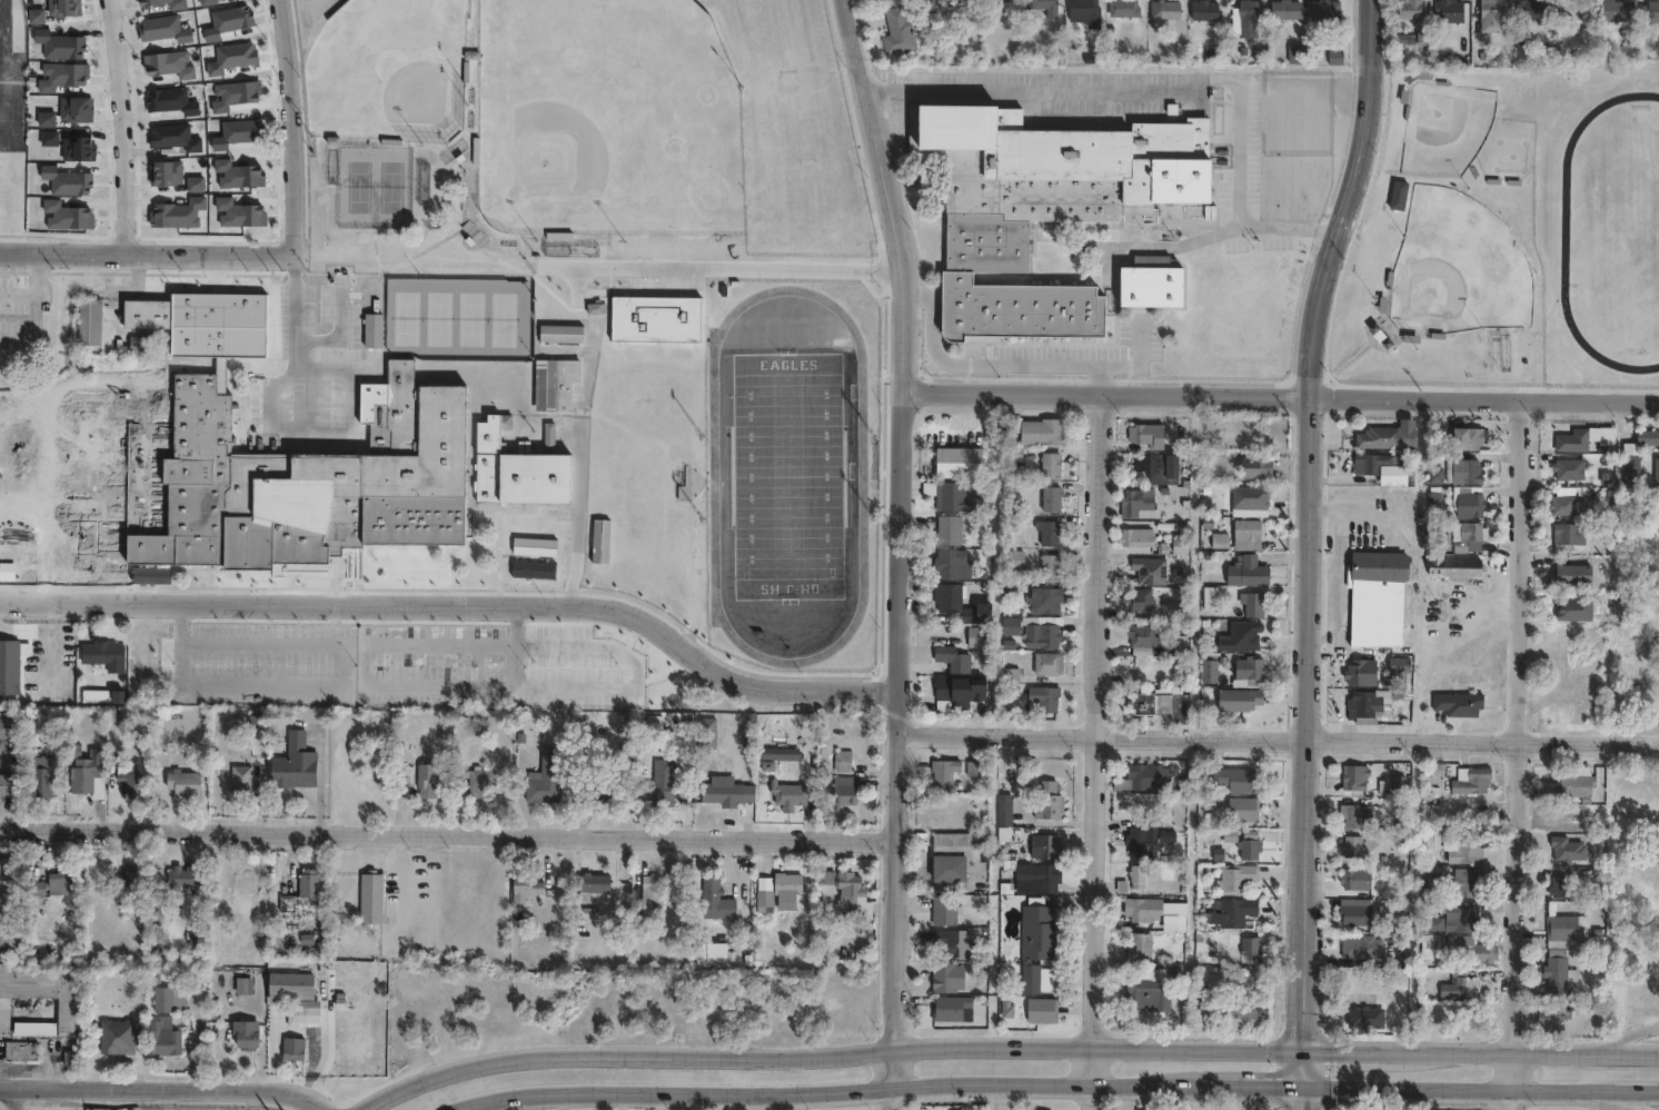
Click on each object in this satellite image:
building: (1001, 0)
road: (2, 8)
building: (1124, 8)
building: (1166, 9)
building: (1205, 9)
building: (1447, 9)
building: (1533, 9)
building: (1572, 9)
building: (1287, 10)
building: (1410, 10)
building: (1617, 10)
building: (1652, 10)
building: (1034, 12)
building: (1086, 12)
building: (1251, 12)
building: (1324, 12)
building: (1489, 17)
road: (298, 21)
building: (901, 29)
road: (865, 40)
building: (1299, 53)
road: (4, 61)
park: (391, 72)
road: (1171, 91)
road: (289, 106)
park: (613, 119)
road: (122, 129)
building: (1395, 184)
building: (1398, 195)
building: (1043, 207)
road: (438, 216)
road: (911, 227)
track: (1563, 230)
road: (168, 260)
road: (539, 271)
park: (1454, 275)
road: (138, 276)
building: (1151, 285)
building: (234, 297)
building: (146, 311)
parking lot: (23, 314)
building: (88, 319)
park: (461, 321)
building: (235, 329)
building: (371, 329)
building: (560, 333)
road: (887, 336)
building: (139, 343)
road: (202, 358)
road: (989, 365)
parking lot: (327, 374)
building: (554, 381)
building: (112, 394)
building: (141, 394)
road: (354, 396)
road: (1282, 398)
building: (1034, 428)
building: (1148, 432)
building: (547, 435)
building: (1581, 435)
building: (1647, 435)
building: (1374, 437)
building: (1464, 437)
building: (1015, 452)
building: (960, 462)
building: (1365, 462)
building: (1051, 463)
building: (1159, 465)
building: (1253, 465)
building: (1431, 466)
building: (1567, 467)
building: (1658, 469)
building: (1459, 470)
park: (787, 475)
track: (862, 475)
building: (344, 478)
building: (951, 494)
building: (78, 495)
building: (1052, 496)
building: (1564, 496)
building: (1463, 501)
building: (1139, 502)
road: (1355, 512)
road: (576, 513)
road: (1310, 518)
building: (948, 529)
building: (1050, 531)
building: (1244, 533)
building: (1566, 534)
building: (1136, 535)
building: (1469, 535)
building: (59, 538)
building: (1220, 538)
building: (90, 539)
building: (1180, 544)
road: (903, 551)
road: (501, 552)
building: (1014, 557)
building: (948, 563)
building: (1050, 565)
building: (1450, 566)
building: (1150, 567)
building: (1244, 569)
building: (1572, 572)
road: (315, 573)
road: (282, 586)
building: (948, 596)
building: (1375, 596)
building: (1044, 597)
building: (1138, 597)
building: (1249, 598)
road: (463, 599)
building: (978, 613)
building: (1011, 624)
building: (1046, 631)
building: (1142, 634)
building: (1240, 634)
building: (978, 635)
building: (1180, 643)
building: (105, 654)
building: (952, 658)
building: (1047, 661)
parking lot: (348, 663)
building: (1398, 664)
building: (11, 665)
building: (1251, 668)
building: (1208, 670)
building: (1352, 672)
building: (1011, 674)
road: (320, 684)
road: (381, 687)
building: (960, 688)
building: (1043, 697)
building: (1236, 697)
building: (1456, 701)
building: (1160, 702)
building: (1359, 705)
building: (1657, 714)
building: (257, 723)
building: (648, 724)
road: (1518, 725)
building: (6, 727)
building: (705, 733)
road: (1279, 739)
road: (1097, 753)
building: (842, 762)
building: (296, 764)
building: (85, 769)
building: (943, 772)
building: (1352, 774)
building: (40, 775)
building: (1145, 776)
building: (544, 777)
building: (1469, 777)
building: (1230, 779)
building: (129, 780)
building: (426, 780)
building: (242, 781)
building: (1567, 781)
building: (474, 782)
building: (1398, 782)
building: (183, 783)
building: (662, 783)
building: (4, 784)
building: (728, 791)
building: (596, 792)
building: (850, 792)
building: (788, 794)
building: (1047, 801)
building: (1239, 809)
road: (1023, 812)
building: (1352, 812)
building: (1005, 816)
road: (449, 834)
building: (1044, 844)
building: (1351, 844)
building: (1140, 845)
building: (1467, 846)
building: (1563, 846)
building: (1245, 849)
building: (956, 856)
building: (4, 869)
building: (1043, 876)
building: (1135, 876)
building: (1353, 876)
building: (135, 878)
building: (1232, 878)
building: (182, 879)
building: (1460, 880)
building: (594, 882)
building: (1429, 882)
building: (1556, 884)
building: (526, 885)
building: (787, 886)
building: (52, 888)
building: (304, 890)
building: (846, 891)
building: (650, 892)
building: (764, 893)
building: (370, 899)
building: (715, 899)
building: (1134, 909)
building: (944, 910)
building: (1352, 910)
building: (1230, 912)
building: (1461, 914)
building: (1561, 924)
building: (8, 940)
building: (952, 941)
building: (1036, 944)
building: (1246, 945)
building: (1359, 945)
building: (1139, 947)
building: (1428, 948)
building: (1481, 951)
building: (717, 952)
building: (1399, 975)
building: (1552, 975)
building: (943, 977)
building: (29, 979)
building: (1461, 983)
building: (245, 985)
building: (295, 993)
building: (1148, 993)
building: (171, 1001)
building: (952, 1008)
building: (1042, 1009)
building: (1548, 1013)
building: (1359, 1017)
building: (1238, 1018)
building: (33, 1030)
building: (247, 1032)
road: (1631, 1033)
building: (119, 1039)
building: (166, 1040)
traffic signals: (1305, 1048)
building: (295, 1049)
road: (324, 1049)
road: (829, 1050)
road: (1482, 1050)
building: (22, 1052)
building: (73, 1060)
road: (1305, 1064)
road: (1513, 1070)
road: (1255, 1081)
traffic signals: (1305, 1081)
road: (826, 1084)
road: (1481, 1087)
road: (161, 1088)
road: (1304, 1096)
road: (14, 1098)
road: (166, 1099)
road: (1513, 1099)
road: (256, 1100)
road: (1633, 1101)
road: (1633, 1106)
building: (1150, 1108)
building: (1045, 1109)

